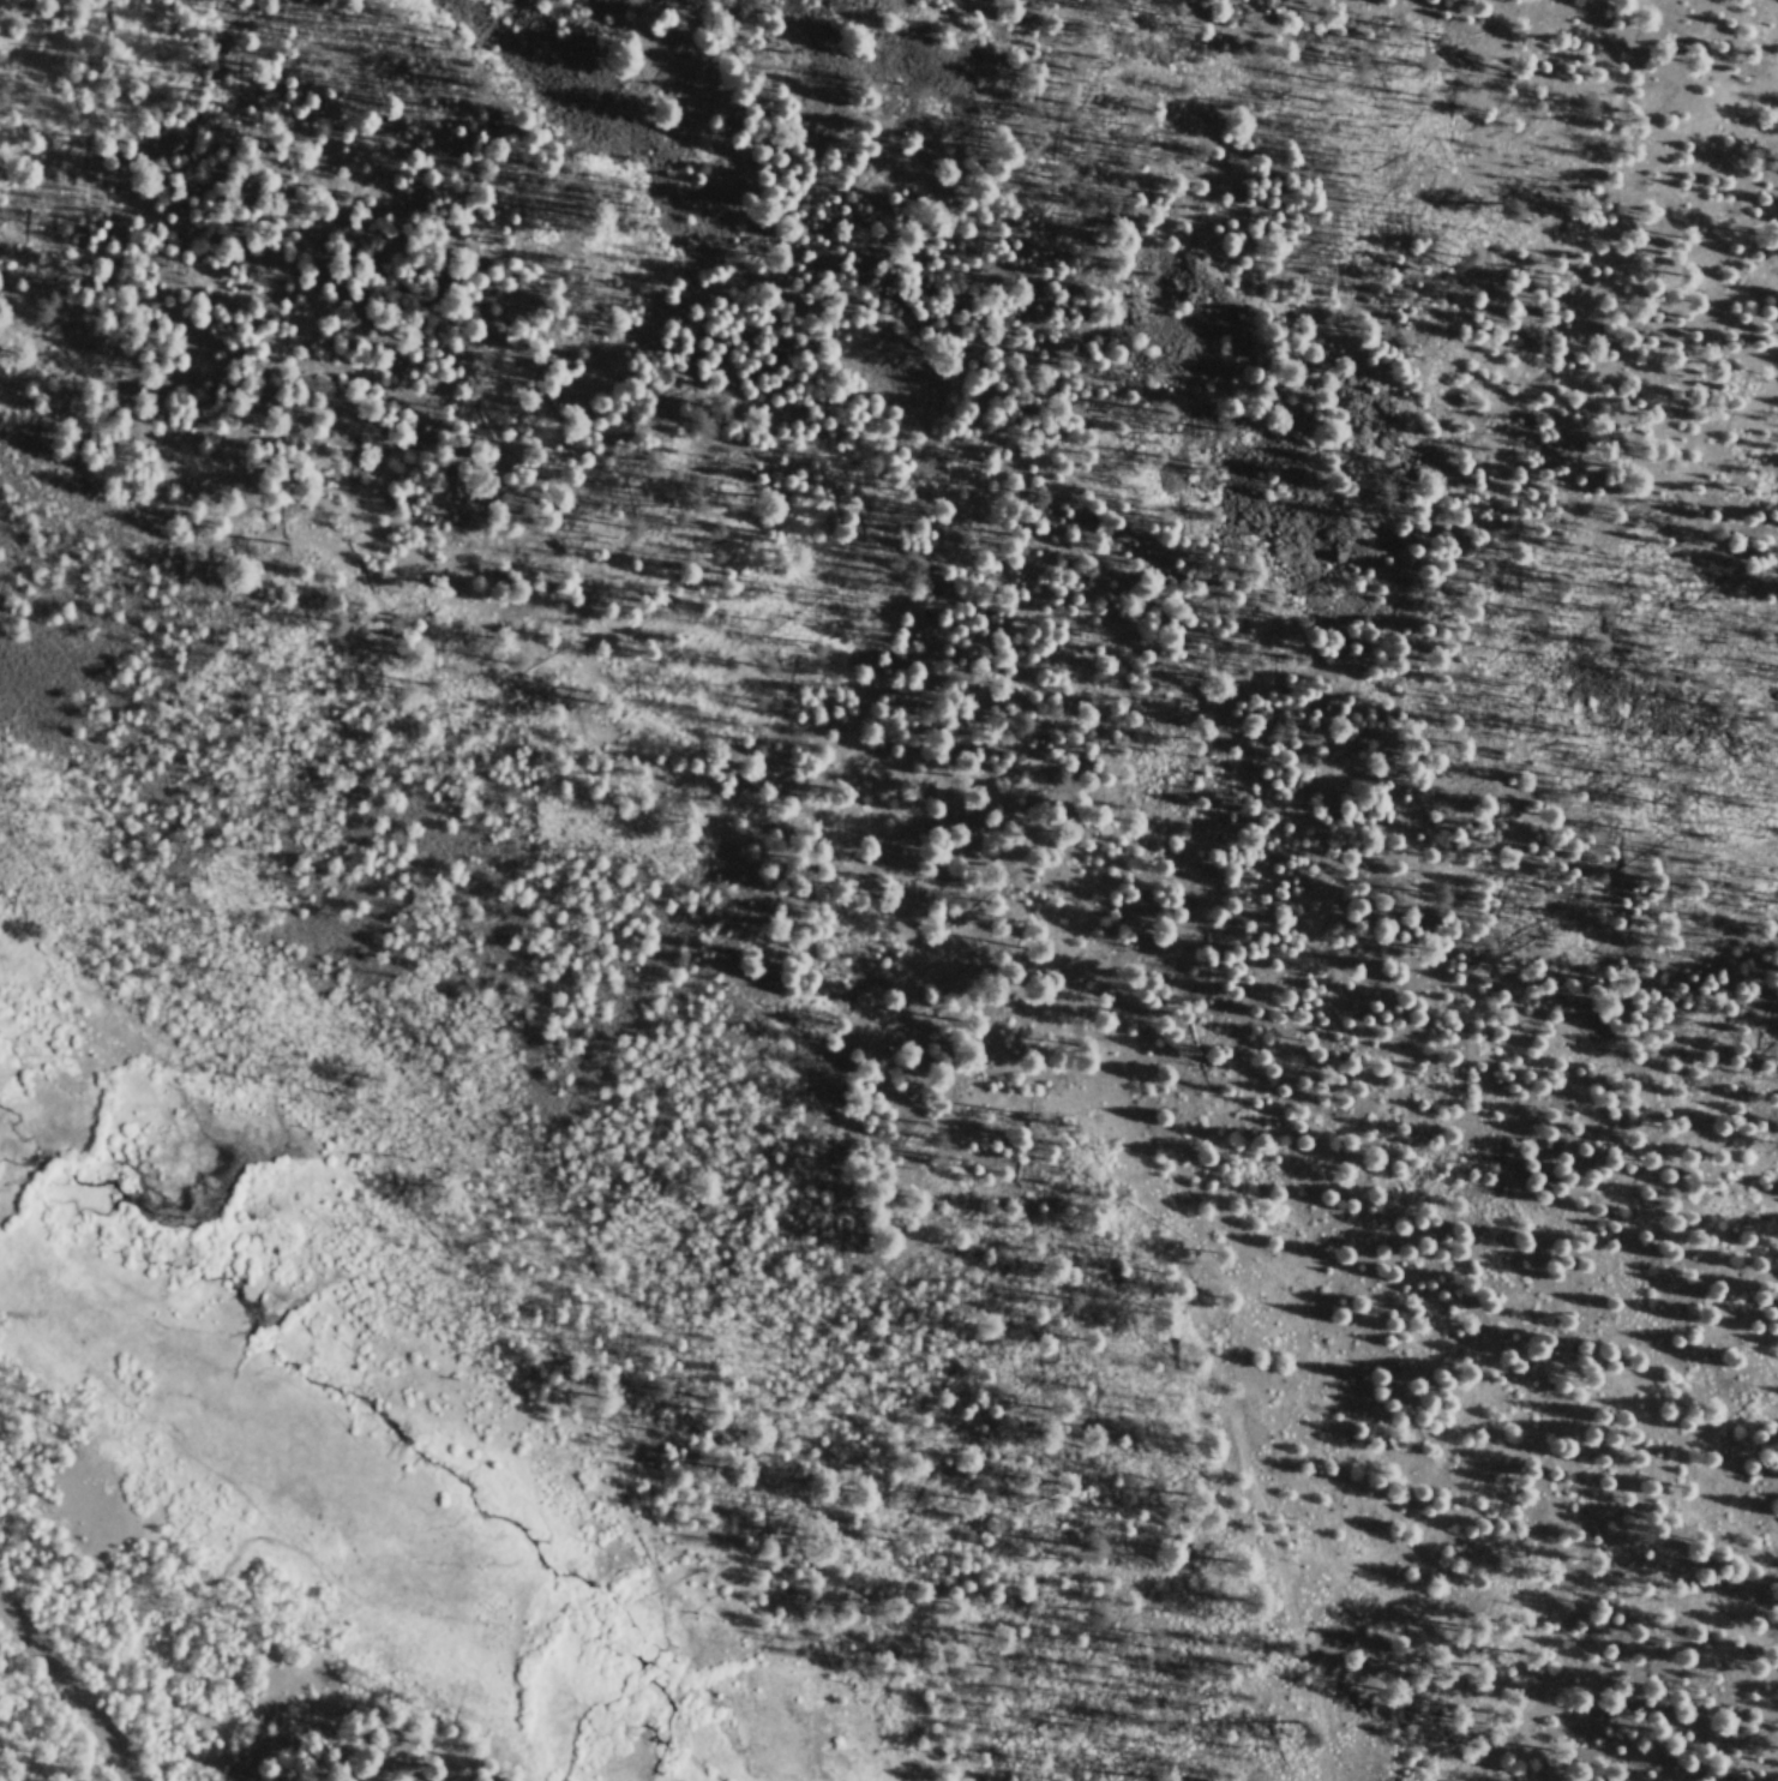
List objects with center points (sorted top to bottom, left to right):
road: (1031, 1072)
road: (68, 1696)

